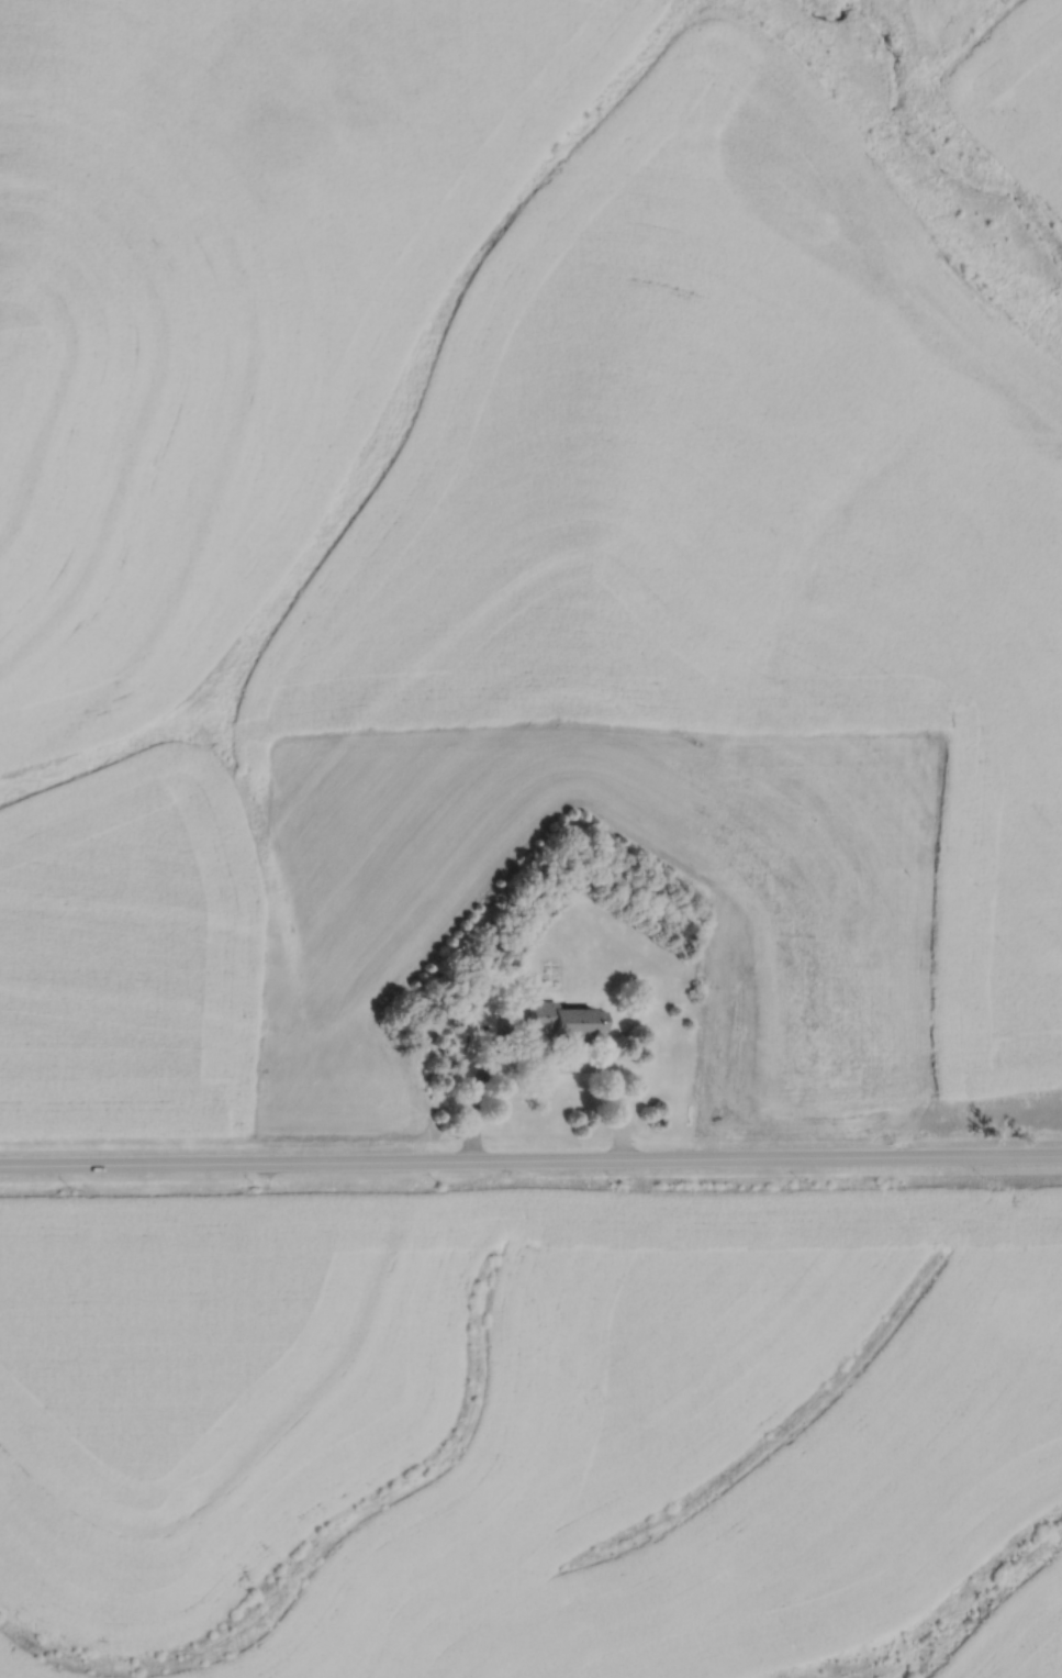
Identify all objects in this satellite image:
building: (562, 1020)
road: (544, 1063)
road: (530, 1160)

